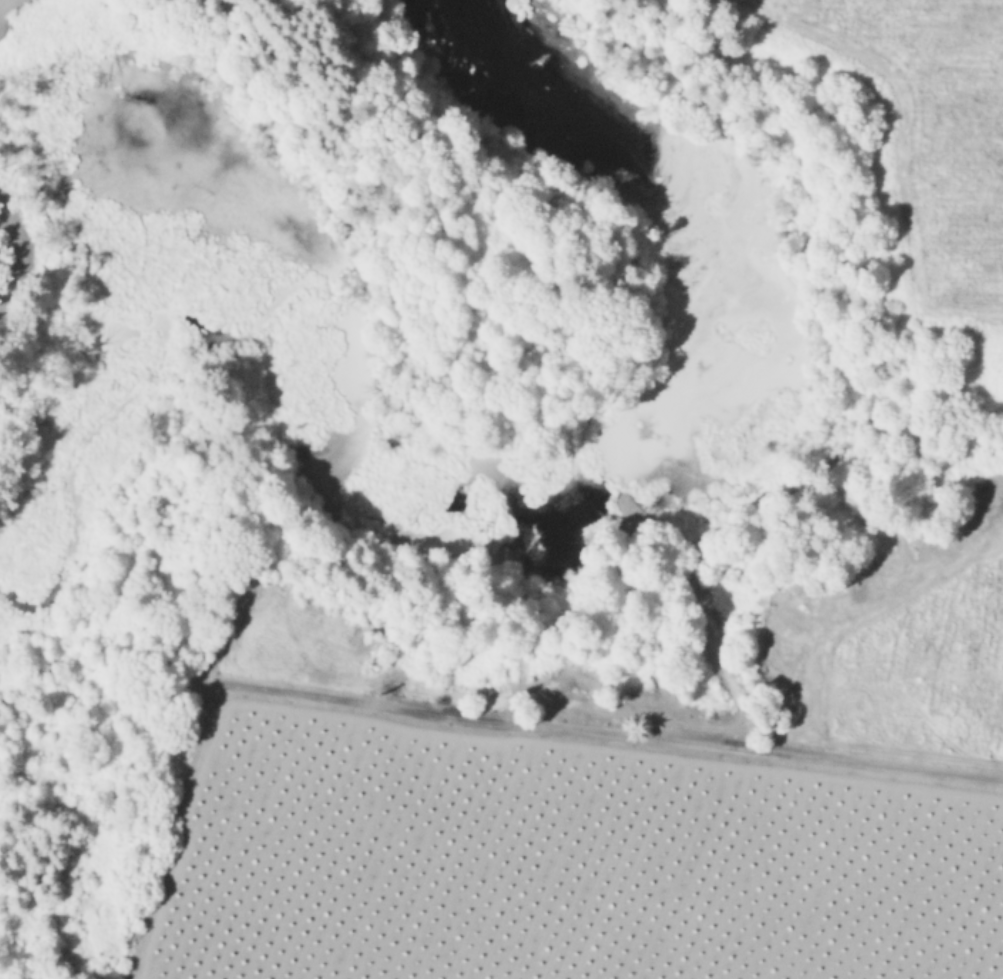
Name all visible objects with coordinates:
crop: (922, 127)
crop: (607, 824)

